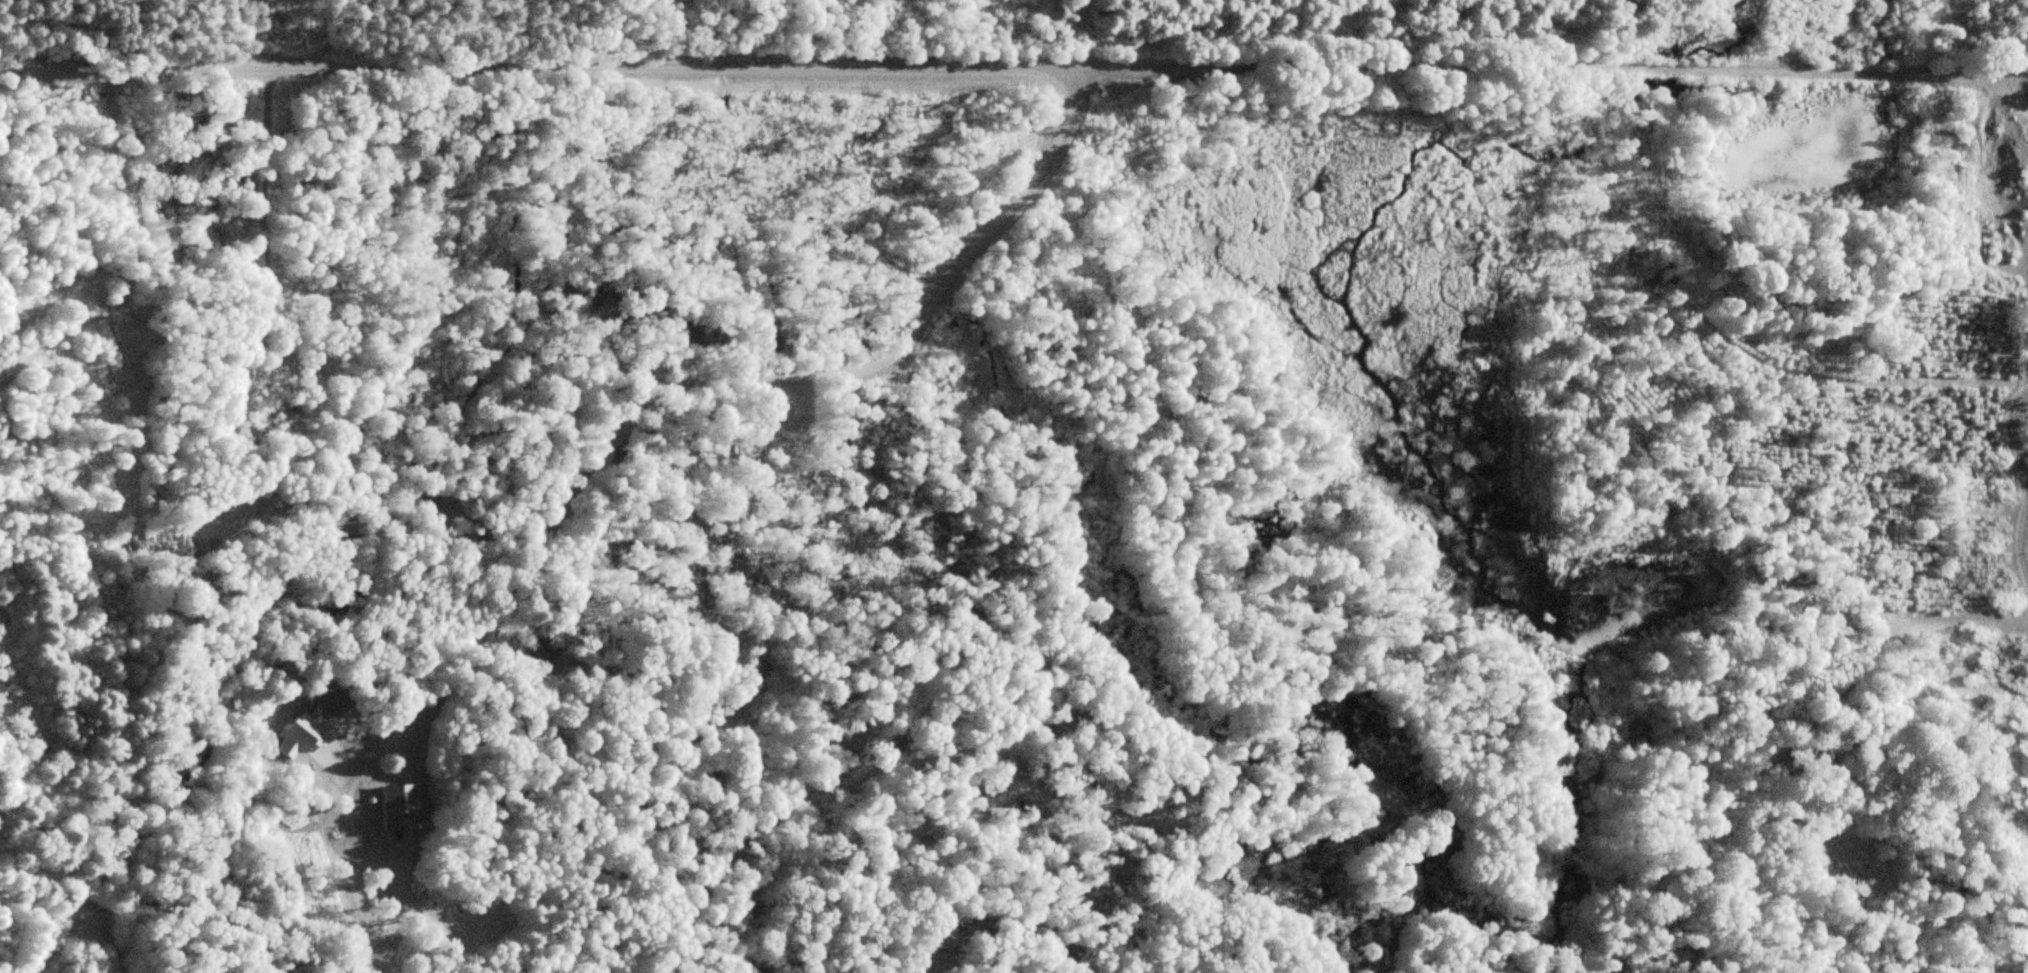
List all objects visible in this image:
road: (811, 70)
building: (303, 727)
building: (399, 807)

